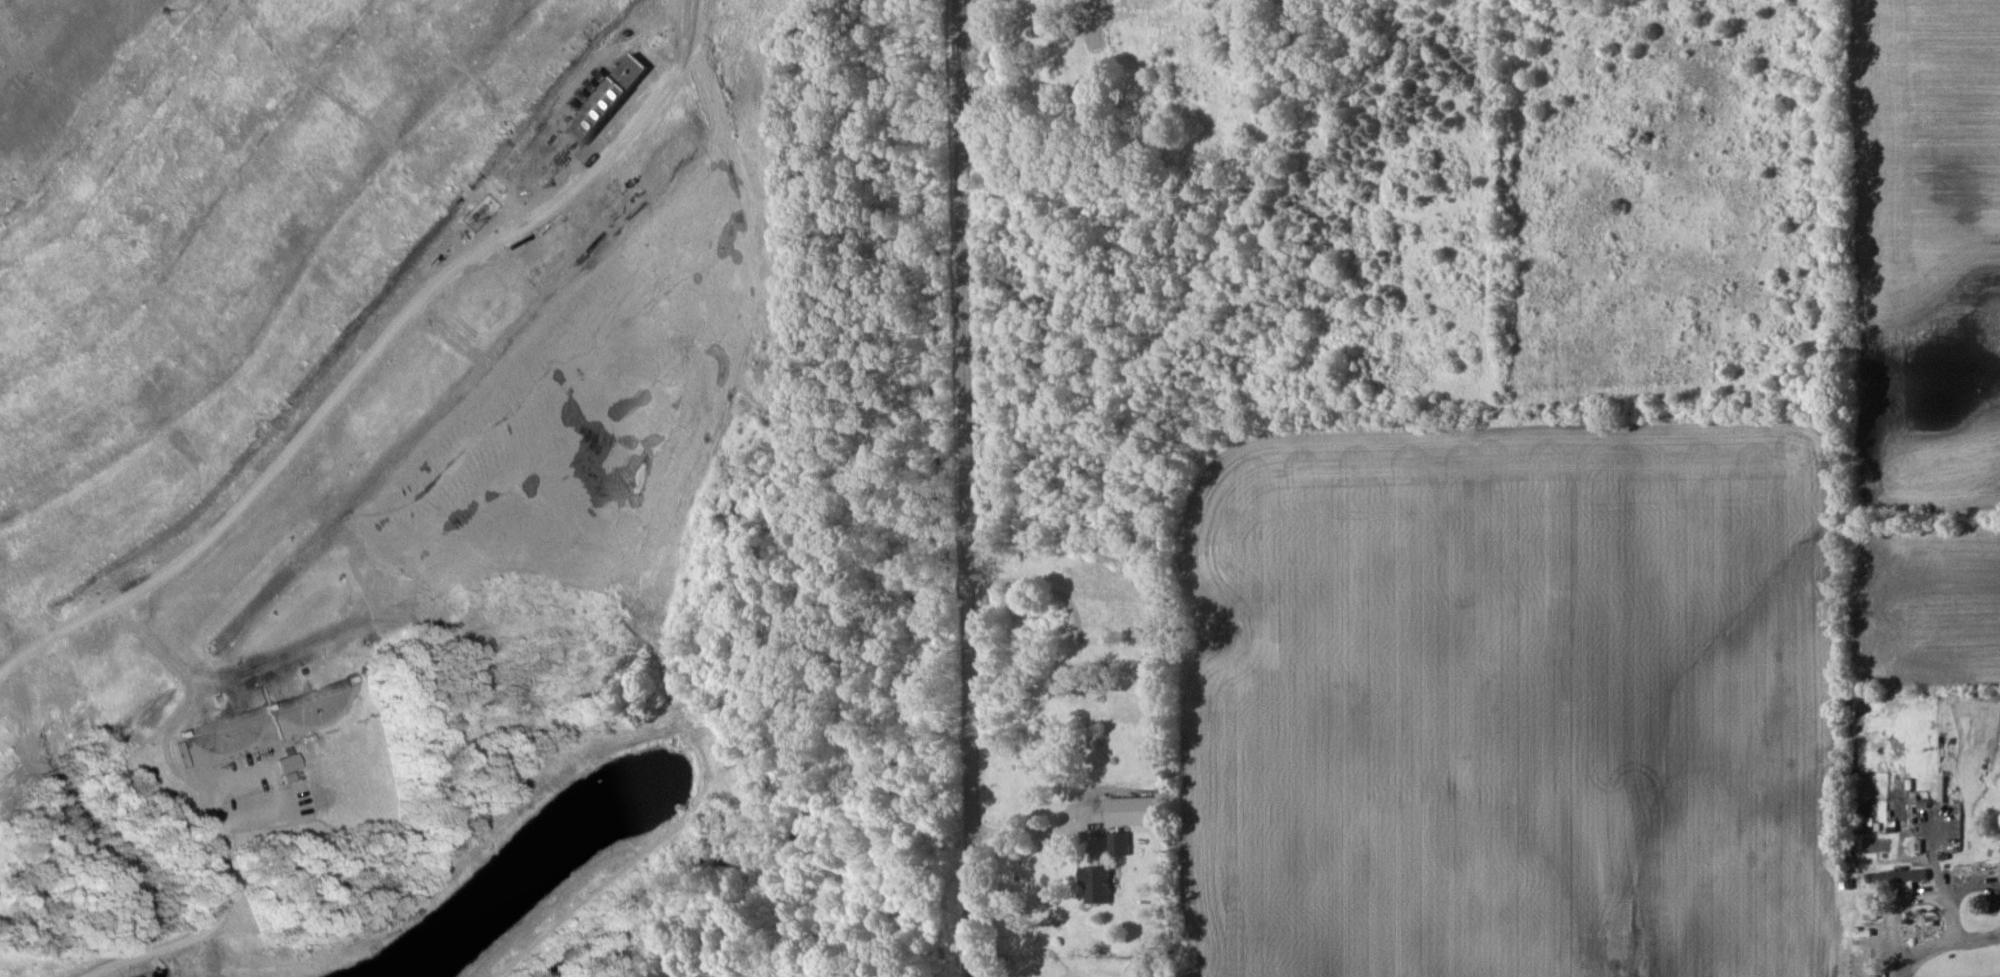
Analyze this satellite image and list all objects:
road: (1039, 49)
building: (605, 99)
road: (370, 352)
road: (965, 488)
building: (288, 767)
building: (1133, 810)
road: (1027, 830)
building: (1118, 843)
building: (1901, 876)
building: (1096, 883)
road: (188, 938)
road: (1940, 938)

